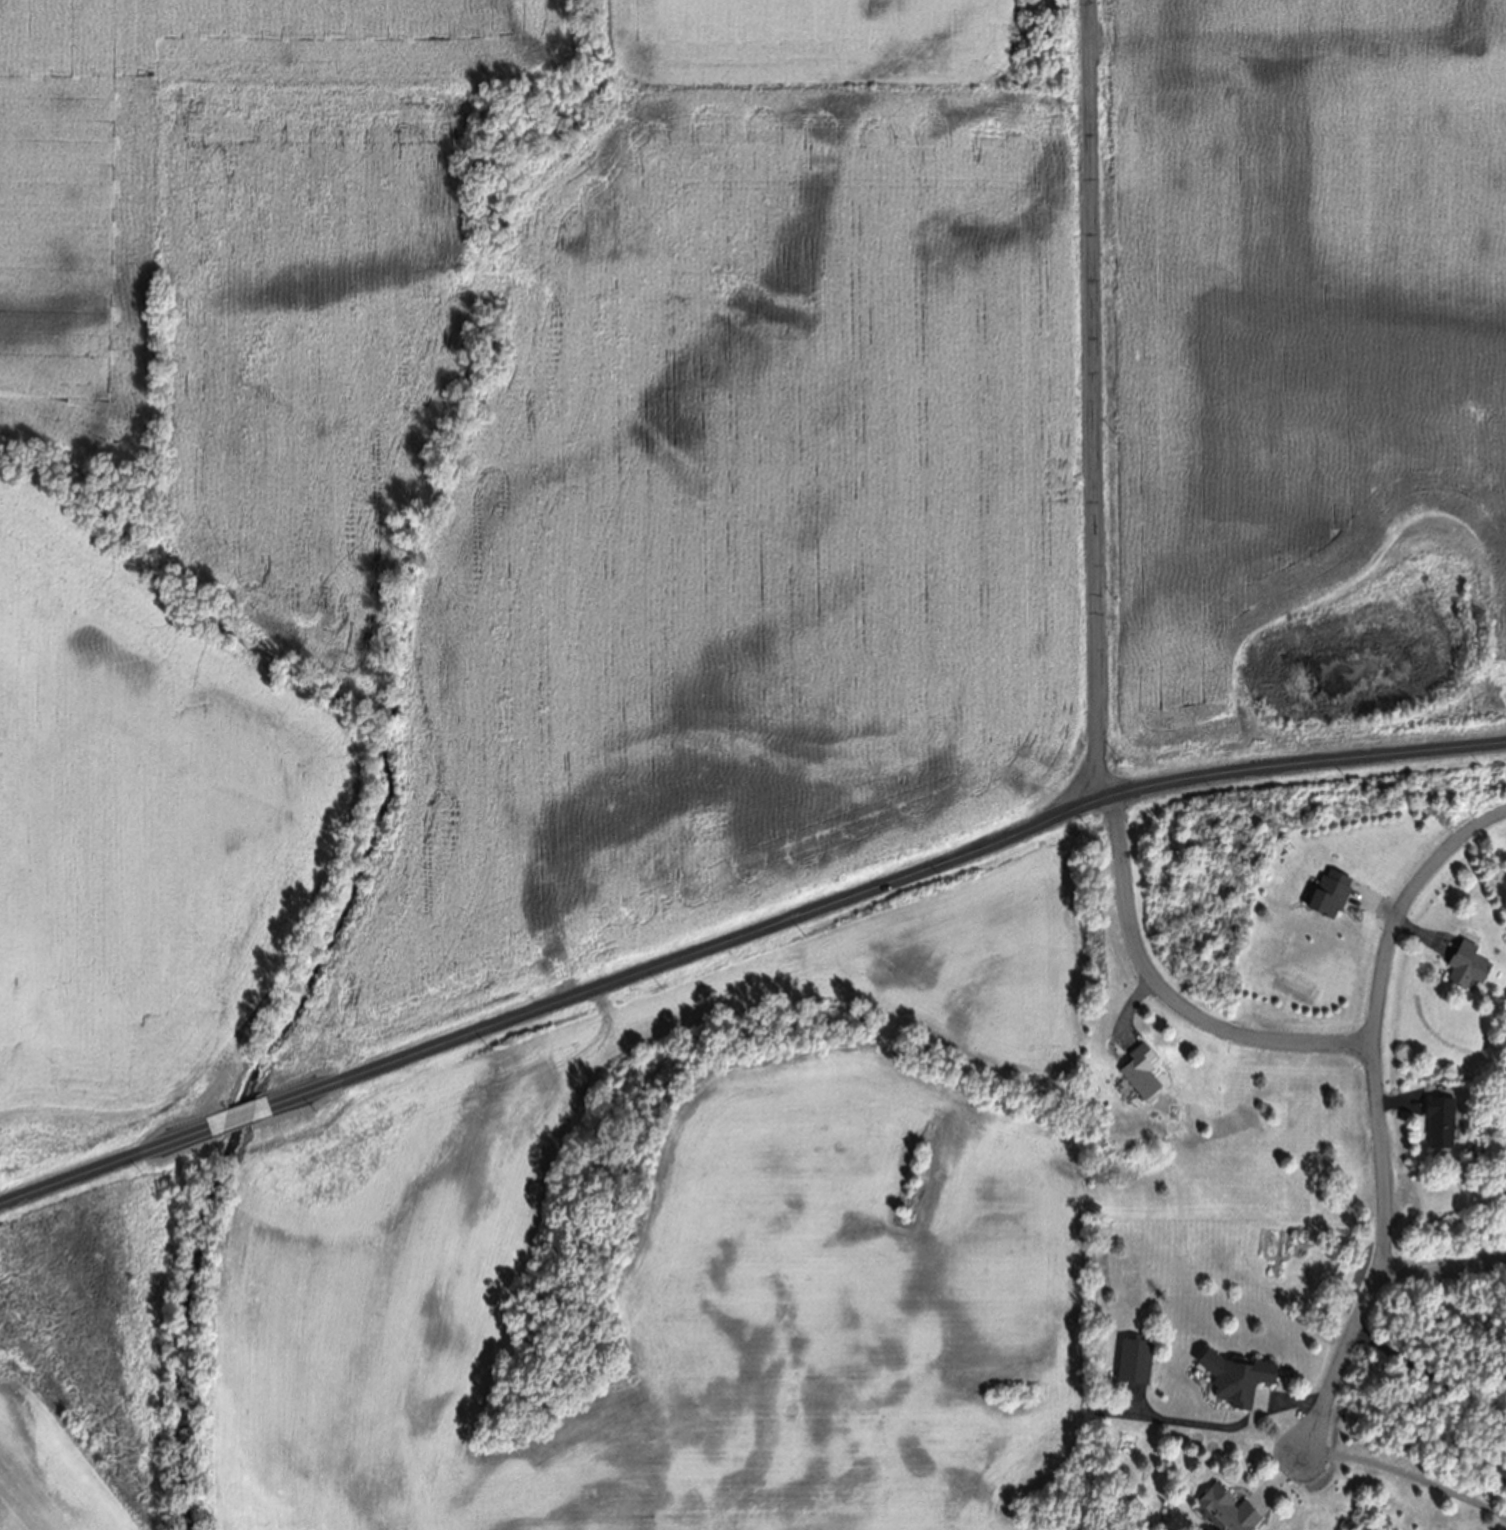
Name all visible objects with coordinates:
park: (1043, 42)
road: (1093, 417)
road: (1115, 811)
building: (1328, 896)
road: (744, 935)
building: (1465, 969)
road: (1183, 1007)
building: (1139, 1075)
road: (1380, 1117)
building: (1438, 1125)
road: (1442, 1269)
building: (1133, 1365)
road: (1431, 1369)
building: (1234, 1383)
road: (1221, 1423)
road: (1410, 1473)
building: (1499, 1476)
building: (1224, 1512)

